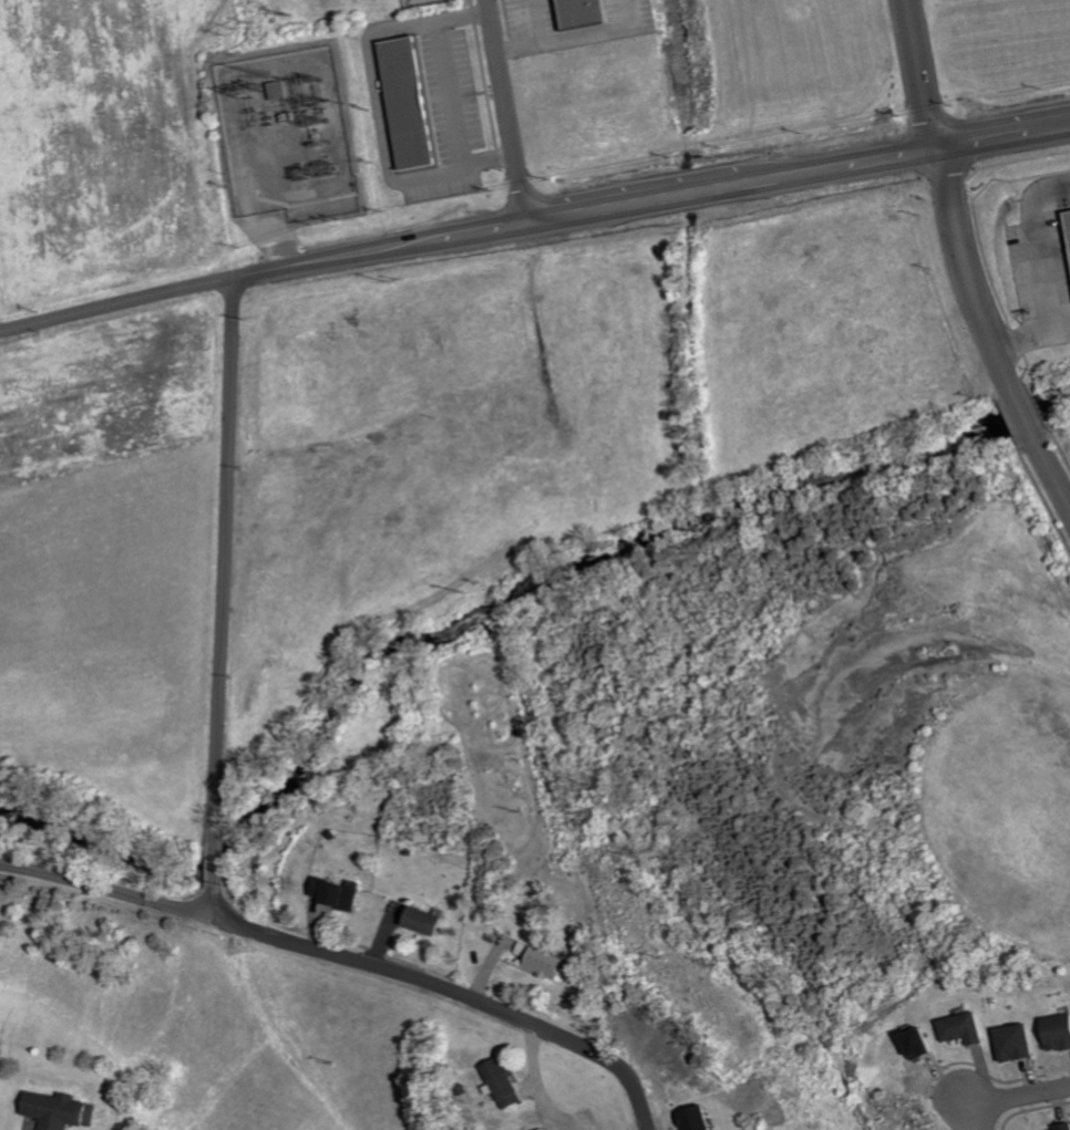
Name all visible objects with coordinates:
building: (588, 13)
road: (920, 75)
building: (414, 103)
road: (510, 110)
power substation: (280, 129)
road: (532, 219)
road: (969, 274)
road: (1023, 417)
road: (1051, 477)
road: (224, 559)
road: (212, 861)
road: (100, 889)
building: (341, 893)
road: (205, 899)
building: (431, 921)
building: (547, 963)
road: (446, 989)
building: (961, 1029)
building: (1056, 1033)
building: (915, 1043)
building: (1014, 1043)
building: (510, 1085)
road: (1006, 1098)
building: (63, 1110)
building: (690, 1119)
building: (1061, 1127)
building: (553, 1129)

